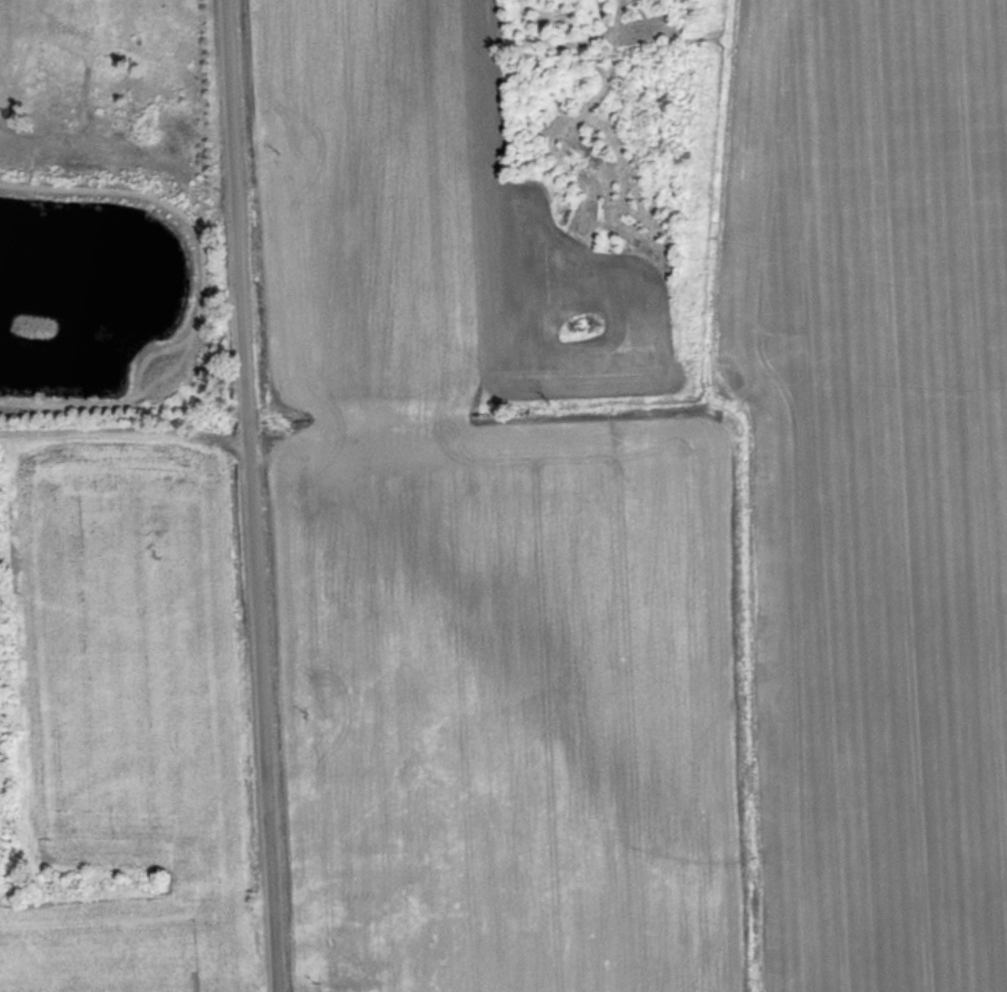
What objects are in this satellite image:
road: (245, 496)

